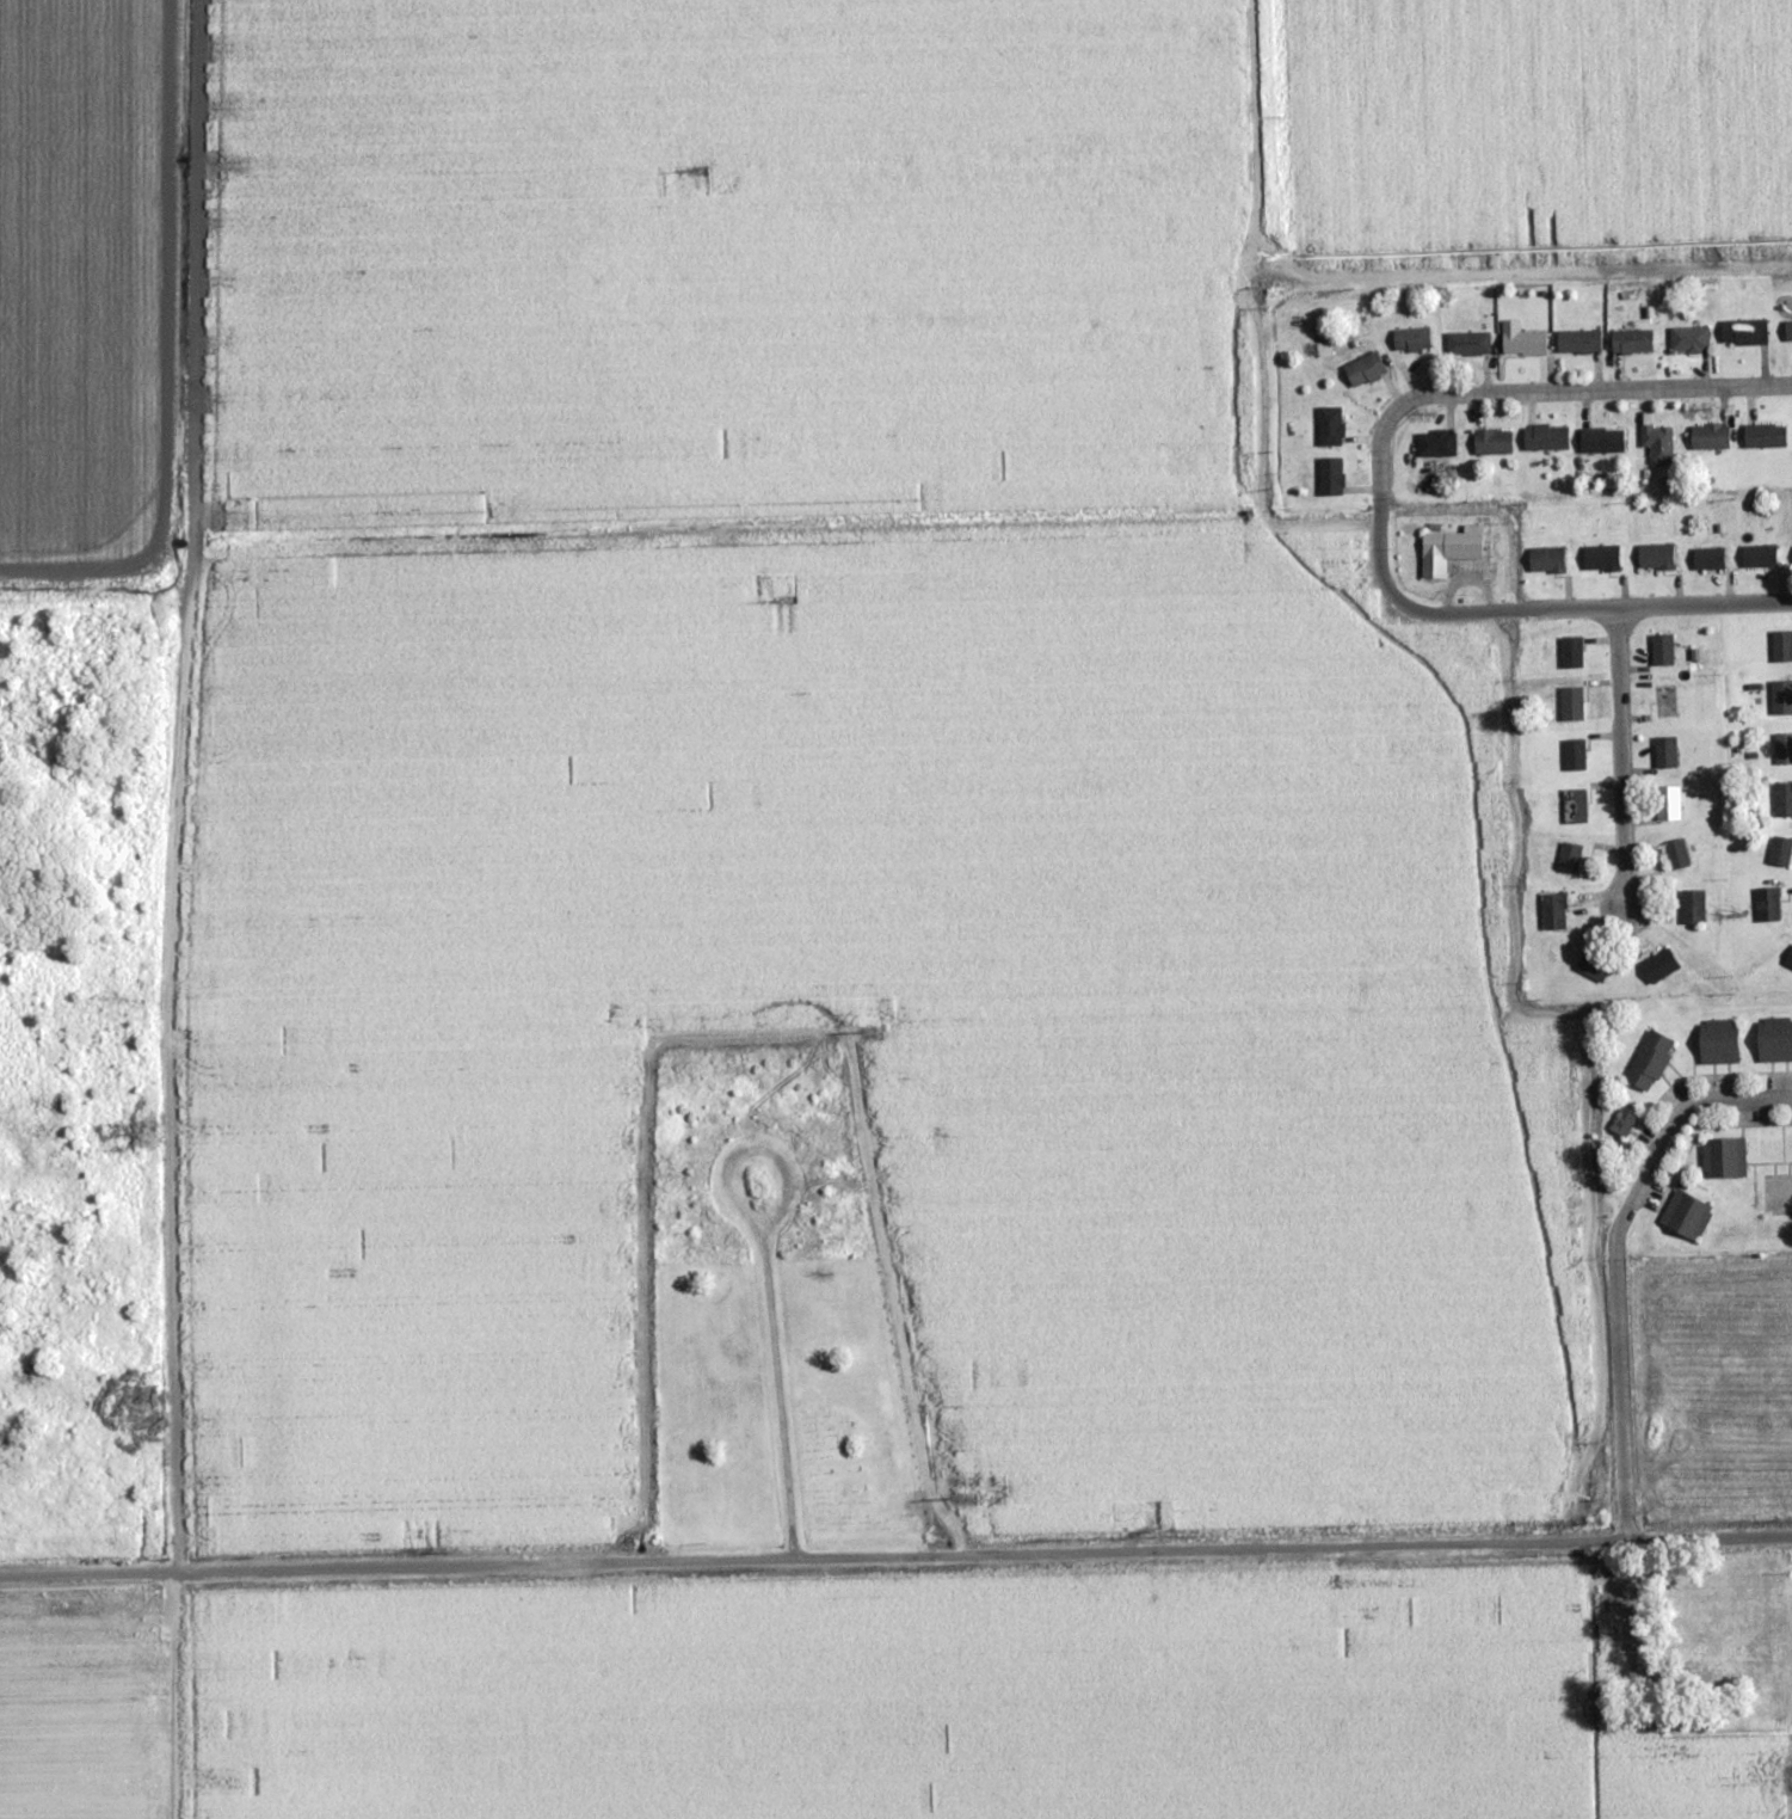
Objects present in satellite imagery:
power tower: (696, 167)
building: (1787, 331)
building: (1743, 332)
building: (1410, 339)
building: (1688, 339)
building: (1521, 340)
building: (1578, 342)
building: (1631, 342)
building: (1467, 344)
building: (1363, 370)
road: (1486, 392)
building: (1329, 426)
building: (1763, 436)
building: (1545, 437)
building: (1708, 437)
building: (1601, 440)
building: (1491, 441)
building: (1657, 442)
building: (1435, 443)
building: (1330, 477)
building: (1448, 549)
building: (1655, 555)
building: (1759, 555)
building: (1600, 557)
building: (1707, 558)
building: (1546, 559)
power tower: (781, 597)
road: (1597, 607)
building: (1781, 645)
building: (1662, 649)
building: (1571, 651)
building: (1781, 696)
building: (1571, 702)
building: (1782, 748)
building: (1664, 751)
building: (1574, 754)
road: (1621, 755)
road: (178, 786)
building: (1782, 799)
building: (1668, 803)
building: (1574, 805)
building: (1779, 850)
building: (1676, 853)
building: (1569, 856)
building: (1767, 904)
building: (1692, 907)
building: (1553, 911)
building: (1788, 959)
building: (1589, 964)
building: (1658, 966)
power tower: (866, 1027)
building: (1774, 1039)
building: (1717, 1041)
building: (1649, 1061)
building: (1622, 1120)
road: (734, 1141)
building: (1723, 1157)
building: (1685, 1215)
road: (1617, 1264)
road: (774, 1382)
power tower: (959, 1498)
road: (895, 1559)

